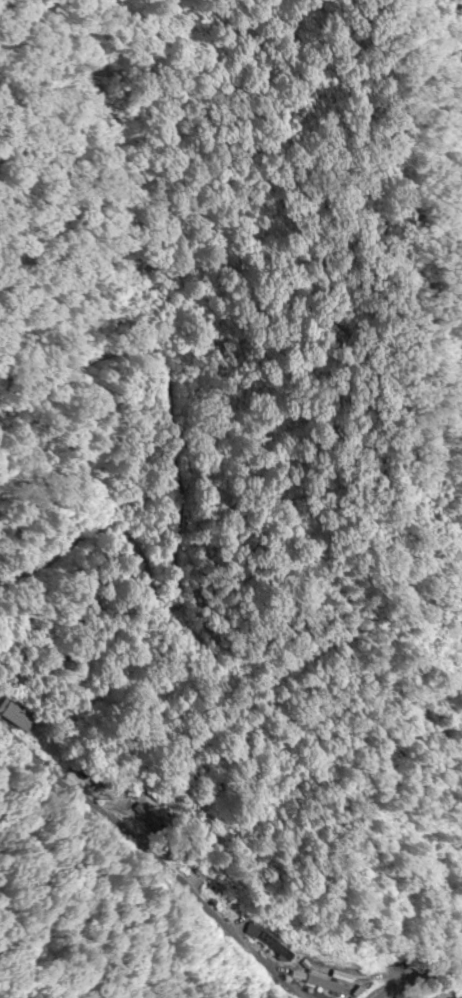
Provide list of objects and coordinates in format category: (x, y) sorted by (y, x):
building: (16, 716)
road: (110, 898)
building: (277, 947)
road: (375, 963)
building: (330, 986)

